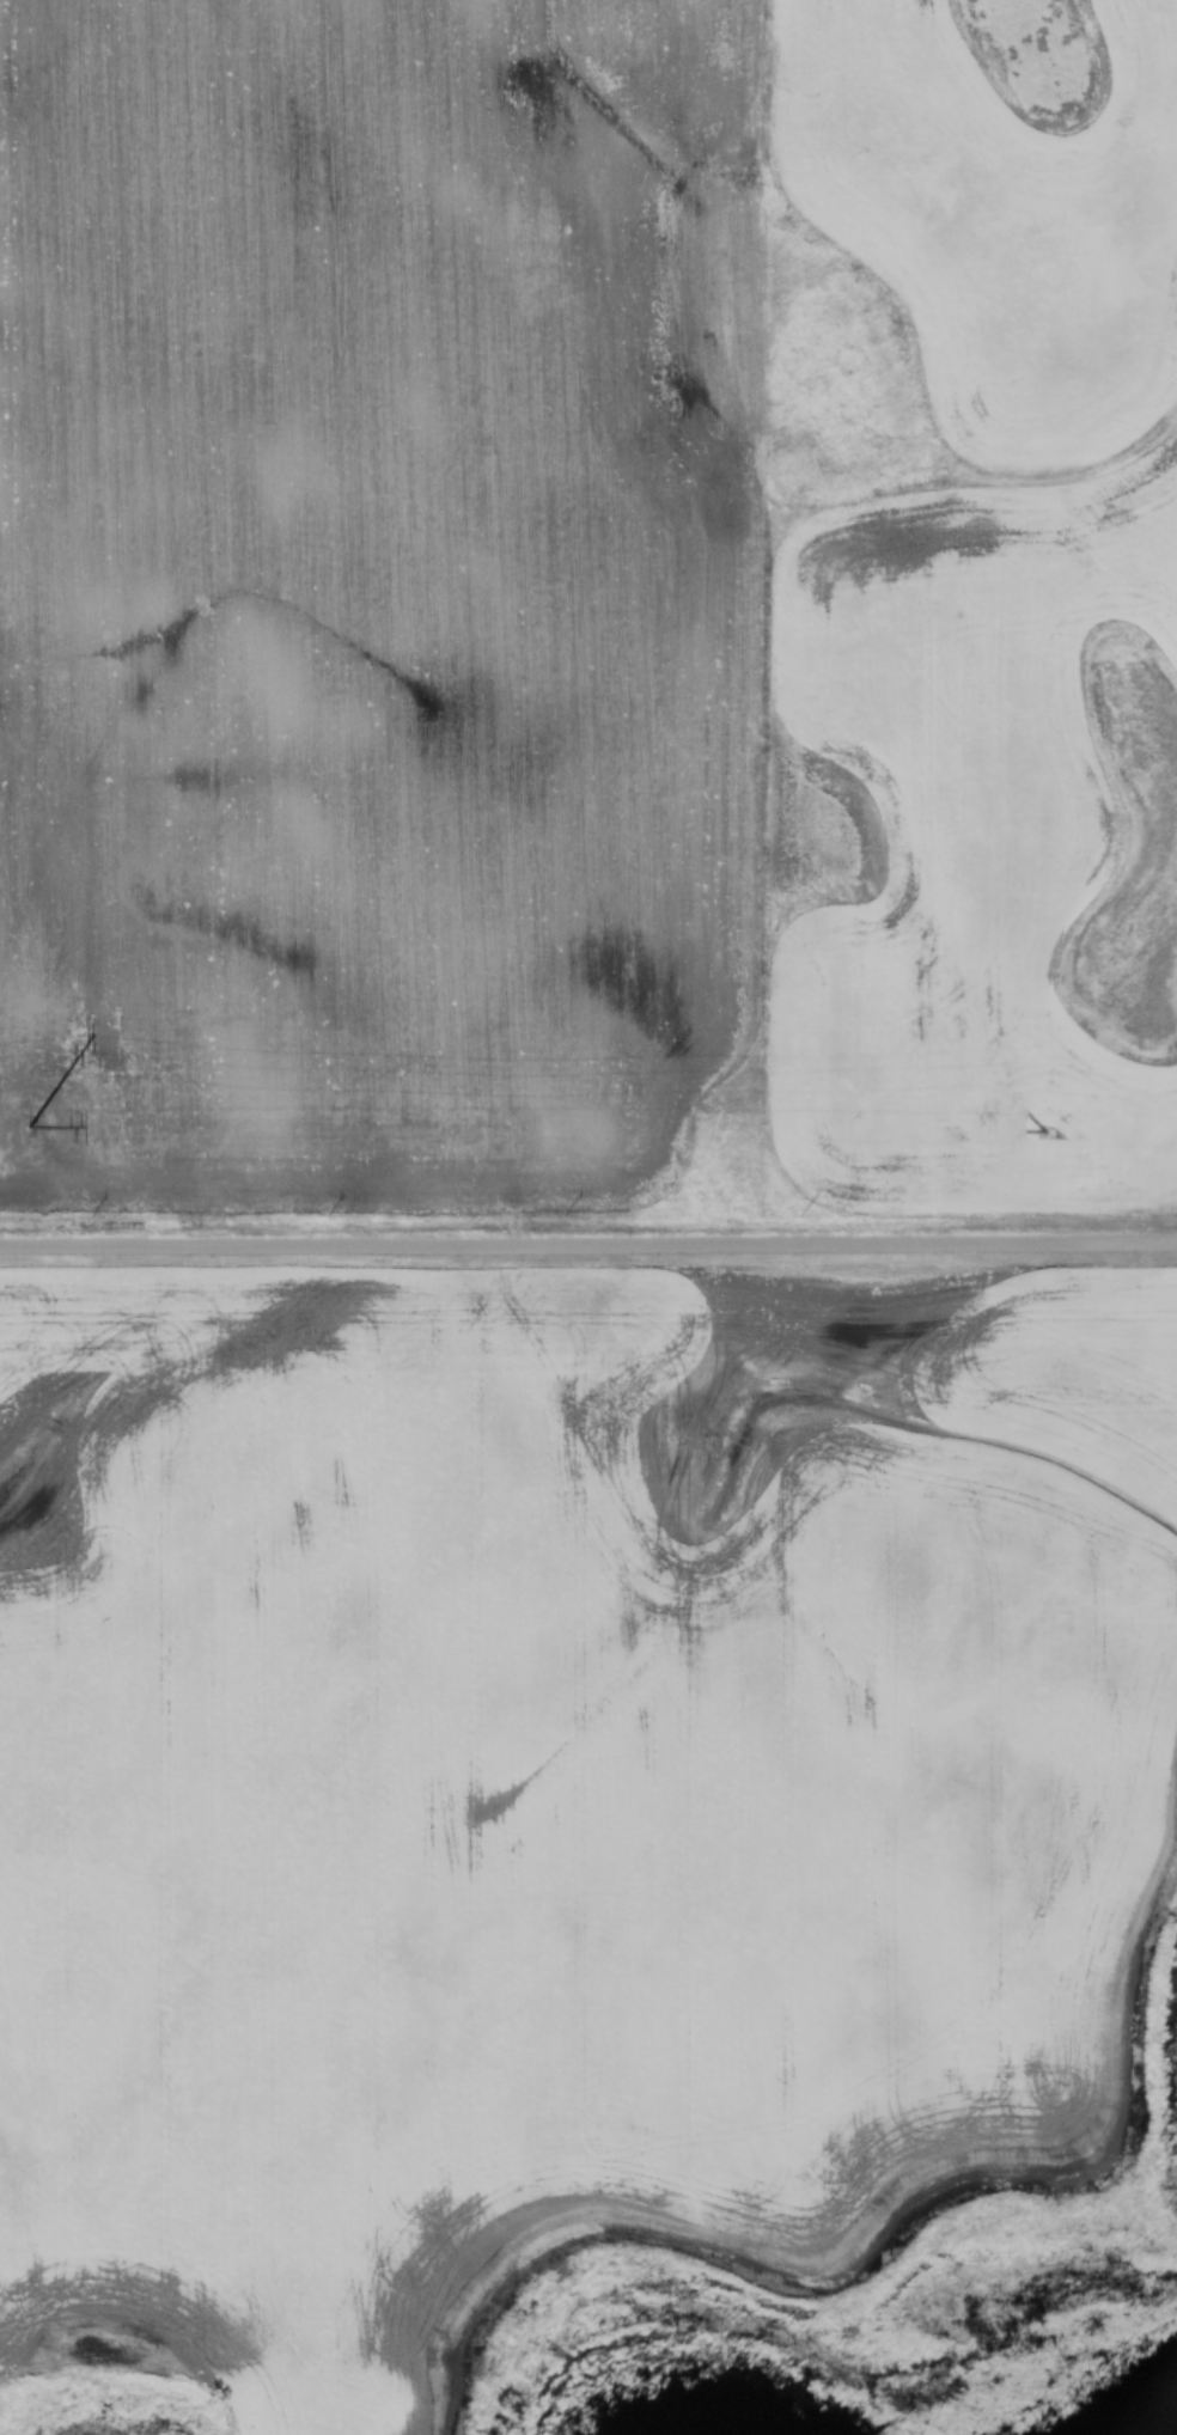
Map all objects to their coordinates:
power tower: (1043, 1106)
power tower: (29, 1111)
road: (587, 1247)

